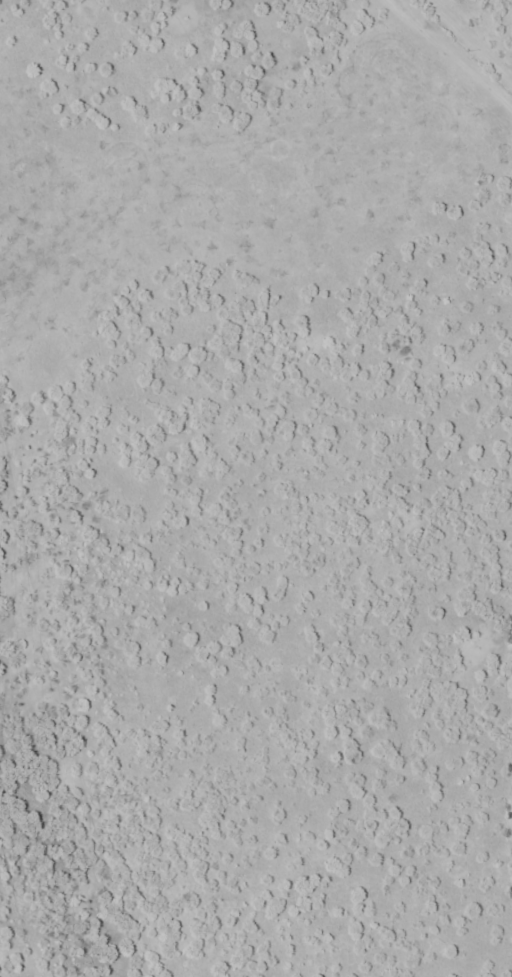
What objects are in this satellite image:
road: (24, 17)

